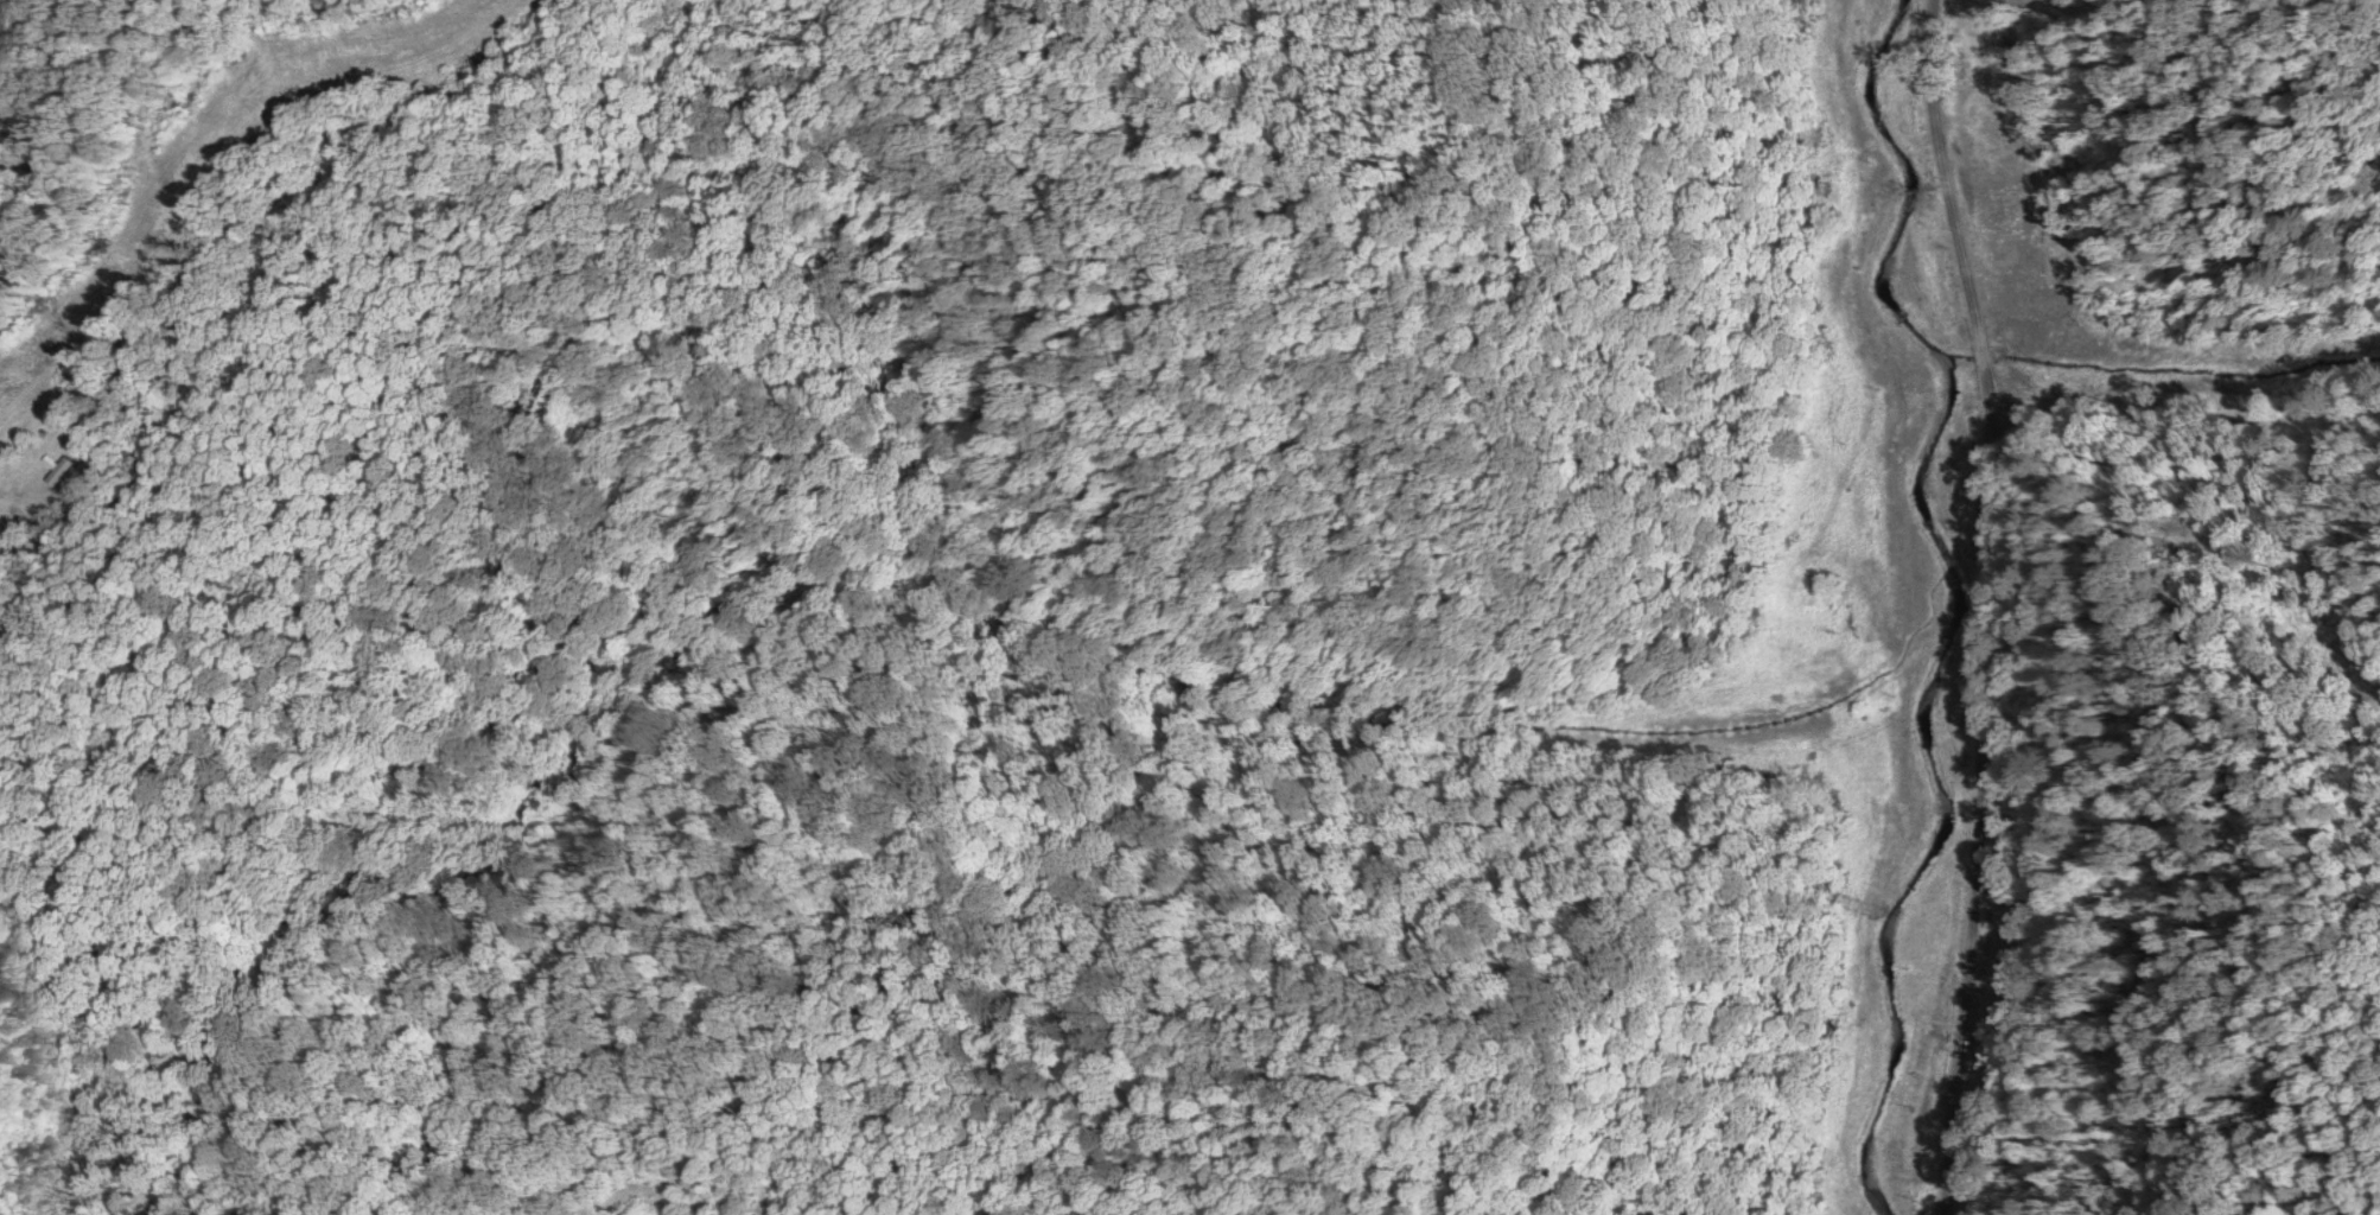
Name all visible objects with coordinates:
building: (1807, 590)

